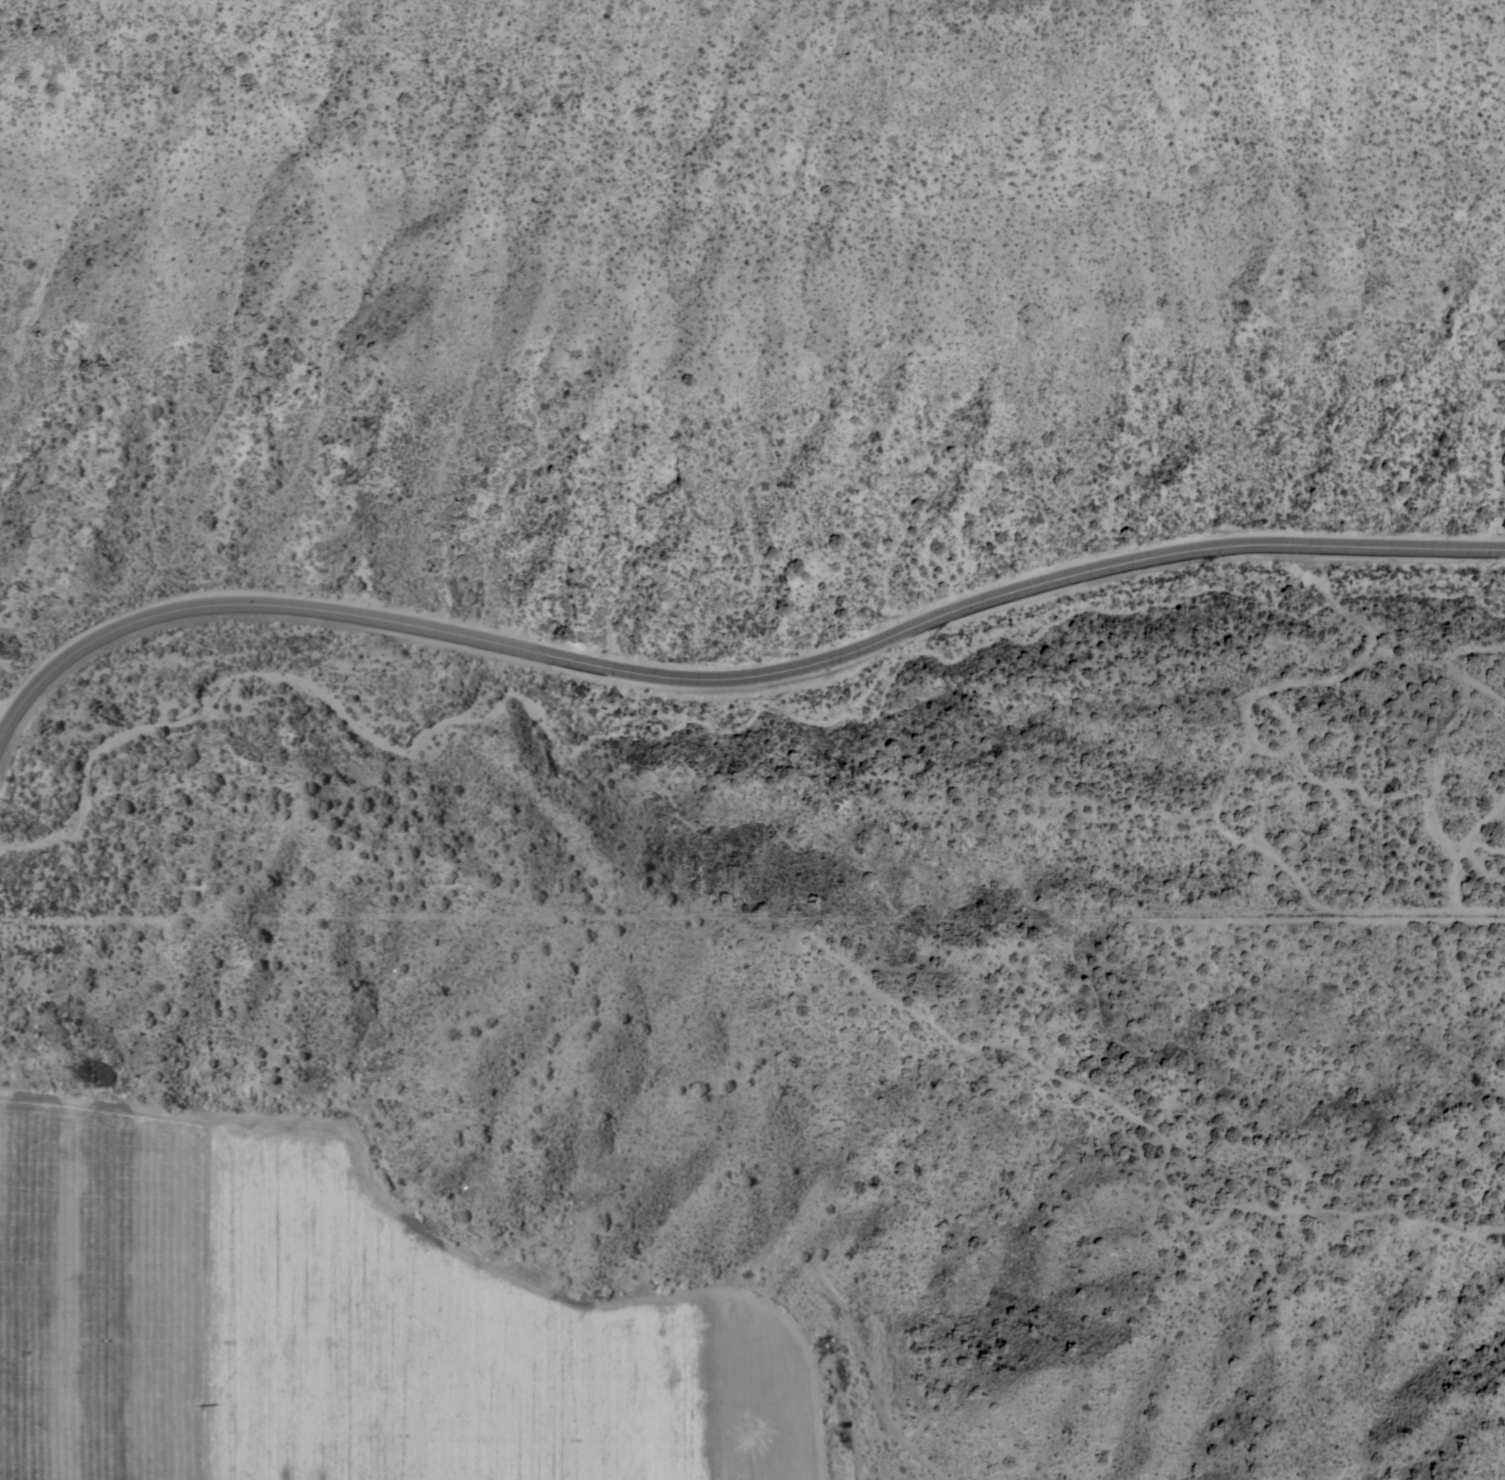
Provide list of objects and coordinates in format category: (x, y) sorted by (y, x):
road: (733, 674)
road: (9, 711)
crop: (332, 1328)

